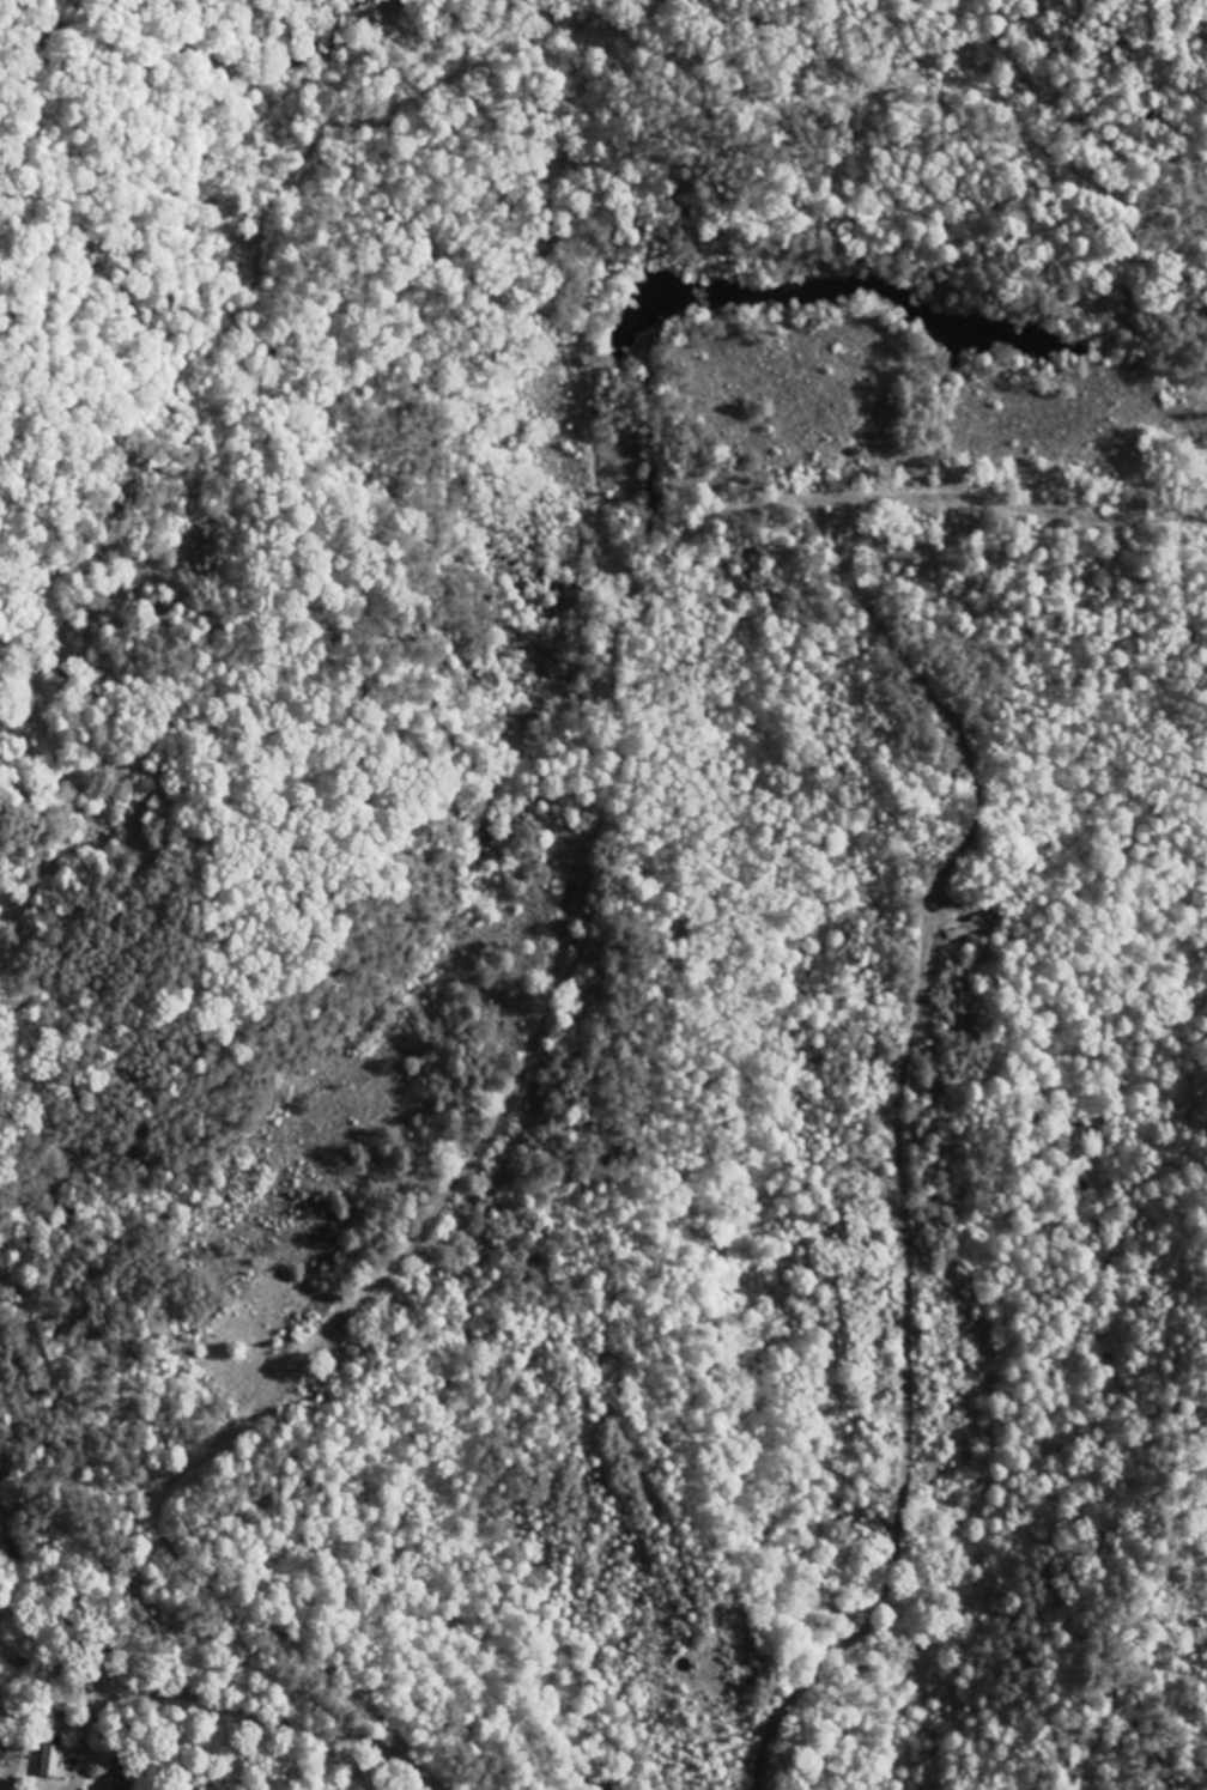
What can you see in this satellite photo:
road: (237, 1707)
building: (49, 1760)
road: (1148, 1788)

